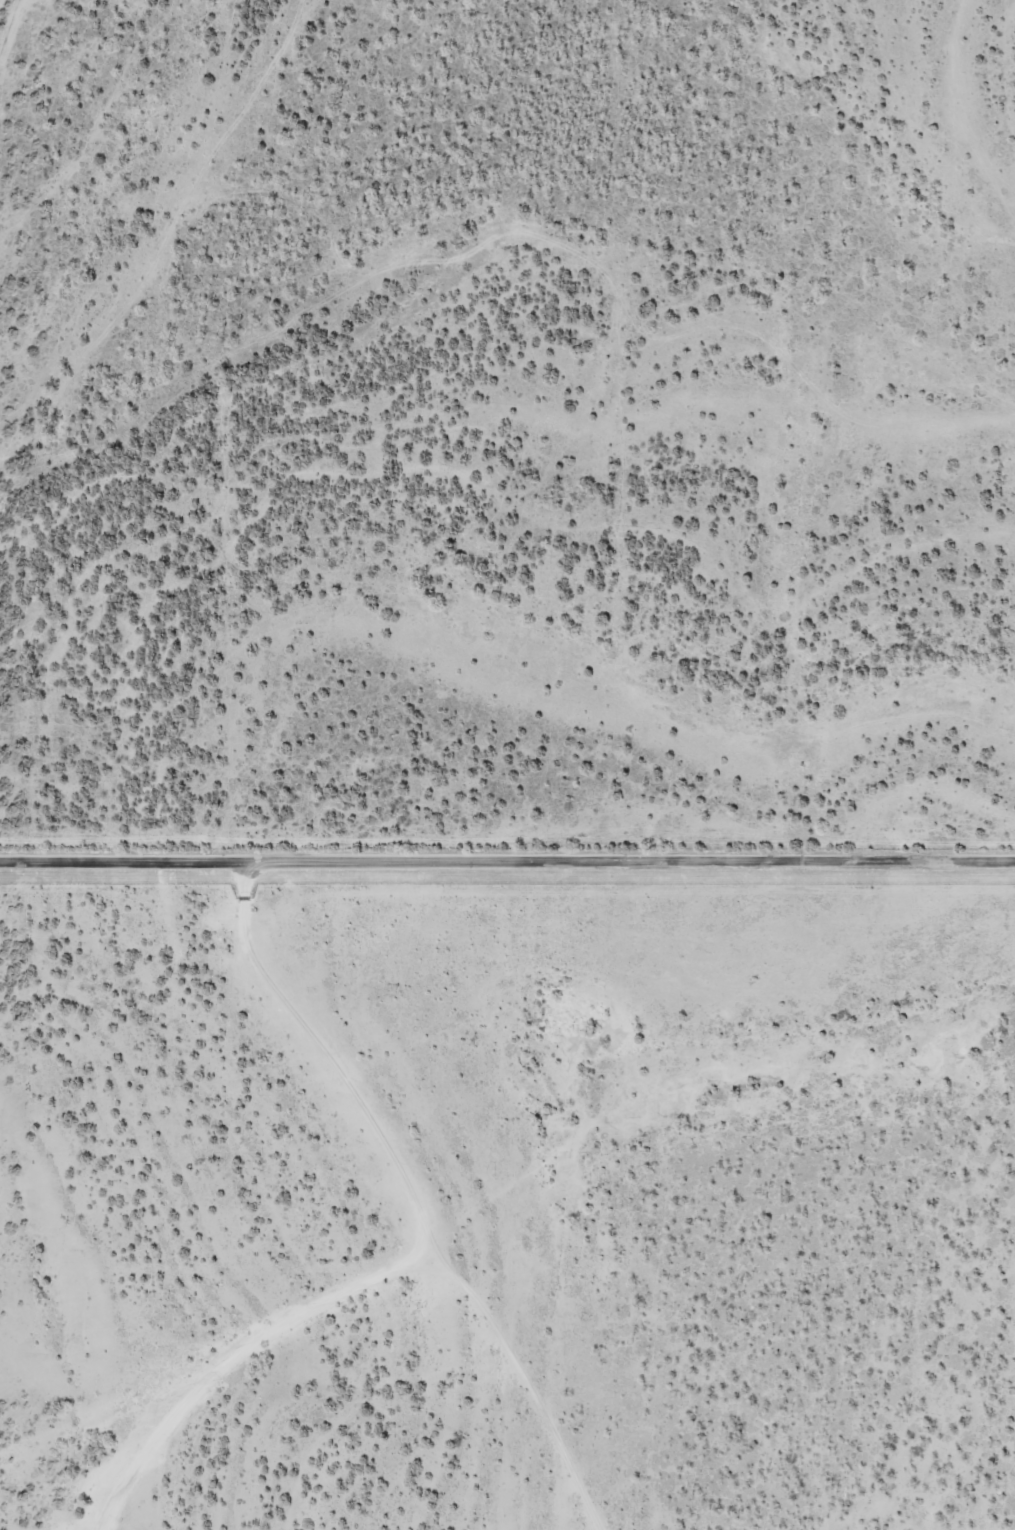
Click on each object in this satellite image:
road: (507, 857)
road: (360, 1295)

